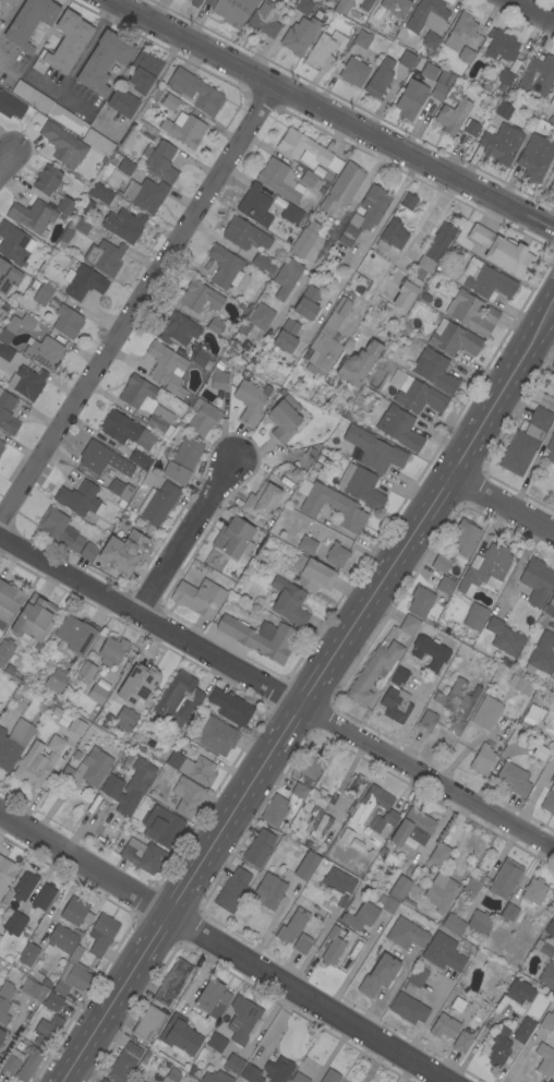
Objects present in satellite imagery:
building: (333, 0)
building: (8, 1)
building: (207, 2)
building: (195, 3)
building: (365, 4)
building: (344, 5)
building: (303, 7)
building: (396, 7)
road: (534, 9)
building: (233, 11)
building: (426, 15)
building: (264, 19)
building: (29, 22)
building: (0, 23)
building: (460, 31)
building: (300, 35)
building: (362, 38)
building: (430, 43)
building: (64, 44)
building: (502, 46)
building: (325, 50)
building: (466, 55)
building: (406, 59)
building: (104, 61)
building: (353, 71)
building: (429, 71)
building: (537, 75)
building: (505, 76)
building: (380, 77)
building: (135, 84)
road: (153, 84)
building: (195, 91)
building: (437, 92)
building: (411, 99)
building: (169, 101)
building: (552, 103)
building: (10, 106)
building: (50, 108)
building: (504, 110)
road: (333, 116)
building: (453, 116)
building: (551, 120)
building: (471, 128)
building: (184, 129)
building: (98, 144)
building: (502, 144)
building: (63, 145)
building: (306, 151)
building: (534, 157)
road: (7, 159)
building: (159, 161)
building: (125, 166)
building: (312, 178)
building: (47, 180)
building: (280, 180)
building: (552, 187)
building: (341, 188)
building: (100, 193)
building: (145, 194)
building: (408, 201)
building: (65, 205)
building: (255, 205)
building: (86, 207)
building: (291, 214)
building: (365, 214)
building: (33, 216)
building: (81, 225)
building: (123, 225)
building: (394, 233)
building: (244, 235)
road: (332, 235)
building: (64, 238)
building: (304, 240)
building: (14, 243)
road: (362, 248)
building: (436, 248)
building: (503, 251)
road: (402, 255)
building: (105, 257)
building: (262, 263)
building: (225, 267)
building: (286, 277)
building: (8, 278)
building: (486, 279)
building: (83, 282)
building: (406, 291)
building: (43, 293)
building: (200, 297)
building: (424, 298)
road: (553, 301)
building: (306, 303)
road: (136, 306)
building: (471, 313)
building: (260, 315)
building: (67, 322)
building: (20, 323)
building: (215, 325)
building: (179, 329)
building: (3, 336)
building: (286, 336)
building: (454, 339)
building: (327, 340)
building: (45, 352)
building: (4, 356)
building: (202, 360)
building: (358, 363)
building: (552, 365)
building: (167, 369)
building: (434, 370)
building: (219, 374)
building: (26, 382)
building: (414, 394)
building: (251, 400)
building: (147, 405)
building: (7, 413)
building: (203, 417)
building: (284, 419)
building: (399, 428)
building: (125, 430)
building: (525, 442)
building: (1, 446)
building: (551, 448)
building: (374, 449)
building: (103, 459)
building: (140, 459)
building: (181, 460)
building: (141, 472)
building: (135, 480)
building: (361, 485)
building: (115, 486)
building: (125, 491)
building: (80, 498)
building: (261, 502)
building: (157, 503)
road: (501, 503)
building: (334, 507)
building: (59, 529)
road: (185, 536)
building: (465, 537)
building: (233, 538)
building: (306, 544)
building: (87, 551)
building: (123, 551)
building: (336, 554)
building: (441, 562)
building: (485, 569)
building: (313, 574)
building: (537, 581)
building: (445, 585)
building: (198, 597)
building: (9, 600)
building: (420, 601)
building: (289, 602)
building: (550, 608)
building: (474, 616)
building: (34, 620)
building: (409, 624)
building: (504, 636)
building: (74, 637)
building: (260, 637)
building: (5, 650)
building: (111, 651)
building: (430, 652)
building: (542, 654)
building: (9, 669)
building: (86, 671)
building: (373, 671)
building: (398, 676)
building: (56, 681)
building: (520, 684)
building: (137, 685)
road: (277, 690)
road: (305, 692)
building: (97, 694)
building: (178, 697)
building: (457, 704)
building: (396, 705)
building: (230, 707)
building: (486, 712)
building: (531, 718)
building: (124, 719)
building: (427, 720)
building: (76, 726)
building: (216, 735)
building: (13, 743)
building: (540, 752)
building: (482, 758)
building: (38, 761)
building: (309, 766)
building: (193, 768)
building: (87, 769)
building: (513, 779)
building: (130, 785)
building: (354, 786)
building: (299, 791)
building: (185, 796)
building: (549, 801)
building: (274, 810)
building: (380, 810)
building: (316, 814)
building: (374, 817)
building: (161, 827)
building: (412, 829)
building: (258, 847)
building: (438, 854)
building: (143, 855)
building: (306, 866)
building: (5, 873)
building: (506, 878)
building: (339, 885)
building: (24, 886)
building: (472, 886)
building: (233, 888)
building: (399, 888)
building: (268, 890)
building: (534, 890)
building: (441, 891)
building: (44, 897)
building: (387, 903)
building: (75, 912)
building: (508, 913)
building: (360, 916)
building: (14, 923)
building: (468, 923)
building: (291, 926)
building: (550, 928)
building: (101, 934)
building: (406, 934)
building: (63, 938)
building: (301, 945)
building: (333, 946)
road: (224, 948)
building: (543, 948)
building: (443, 953)
building: (28, 954)
building: (72, 975)
building: (378, 975)
building: (547, 975)
building: (414, 979)
building: (172, 983)
building: (32, 988)
building: (5, 989)
building: (520, 993)
building: (549, 995)
building: (212, 998)
building: (52, 1001)
building: (457, 1005)
building: (408, 1008)
building: (3, 1011)
building: (242, 1019)
building: (547, 1020)
building: (147, 1022)
building: (444, 1026)
building: (523, 1030)
building: (47, 1031)
building: (1, 1034)
building: (180, 1035)
building: (216, 1042)
building: (462, 1042)
building: (498, 1048)
road: (332, 1053)
building: (544, 1059)
building: (11, 1061)
building: (124, 1062)
building: (28, 1063)
building: (225, 1070)
building: (278, 1070)
building: (250, 1073)
building: (171, 1075)
building: (330, 1075)
building: (299, 1078)
building: (104, 1080)
building: (134, 1081)

